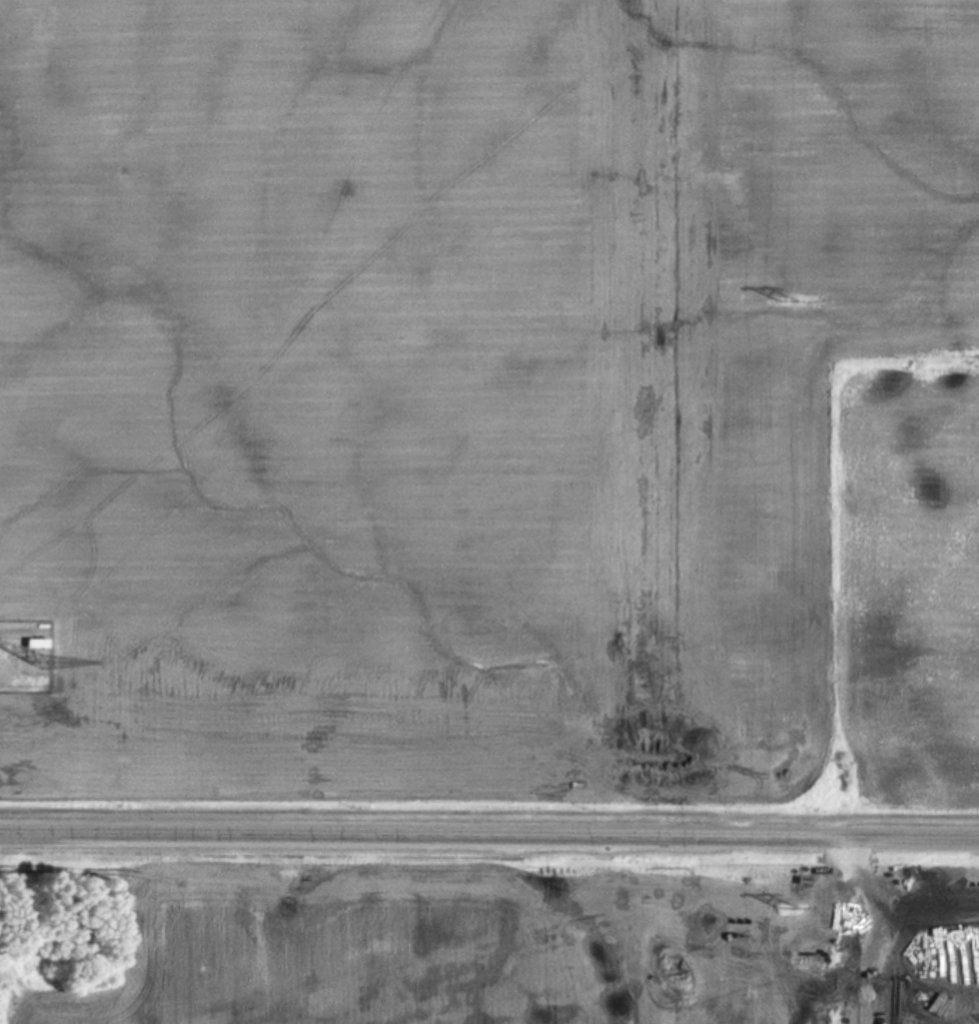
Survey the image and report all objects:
power tower: (796, 299)
road: (5, 635)
building: (31, 645)
road: (489, 833)
power tower: (795, 906)

